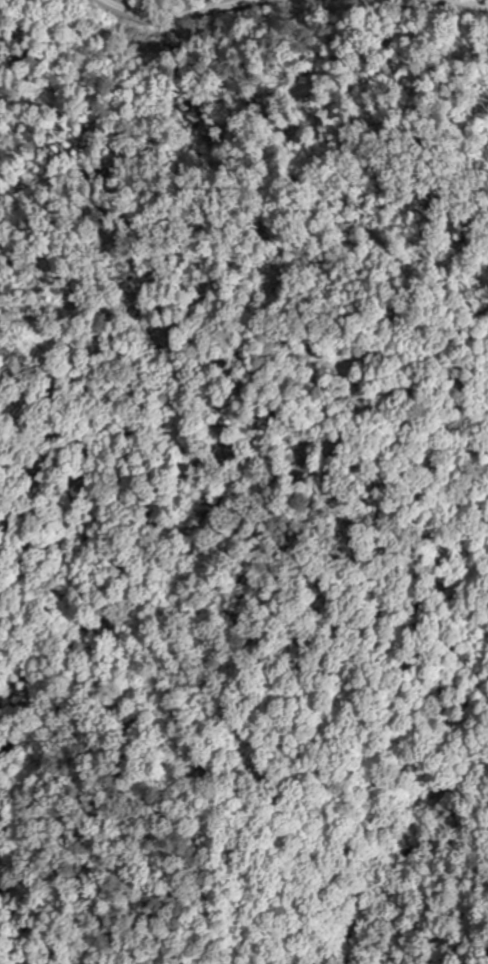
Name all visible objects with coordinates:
road: (164, 6)

